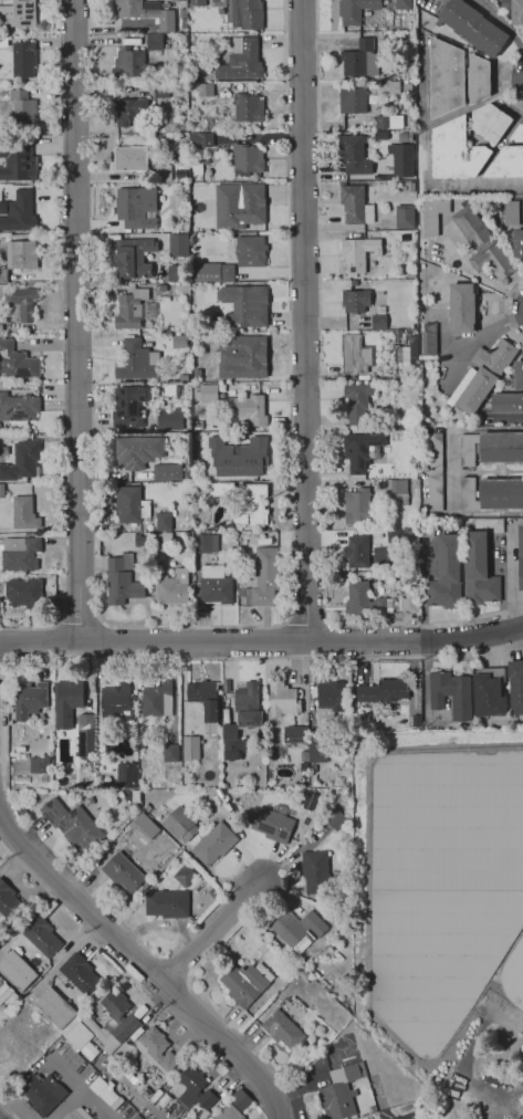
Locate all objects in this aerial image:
building: (197, 2)
building: (402, 4)
building: (355, 10)
building: (514, 10)
building: (146, 12)
building: (19, 13)
building: (244, 14)
building: (184, 23)
road: (504, 23)
building: (473, 27)
building: (182, 38)
building: (3, 41)
building: (154, 41)
building: (23, 59)
building: (360, 59)
building: (241, 60)
road: (317, 62)
building: (134, 65)
building: (446, 77)
building: (479, 79)
road: (505, 79)
building: (206, 90)
building: (394, 90)
building: (160, 91)
building: (353, 100)
building: (381, 107)
building: (23, 108)
building: (249, 108)
building: (130, 111)
building: (389, 122)
building: (491, 122)
road: (430, 123)
road: (338, 125)
building: (517, 134)
building: (406, 136)
building: (201, 139)
road: (498, 148)
building: (456, 151)
building: (354, 155)
building: (248, 158)
building: (130, 159)
building: (400, 159)
building: (18, 161)
building: (506, 164)
building: (161, 174)
building: (411, 187)
road: (448, 187)
building: (239, 205)
building: (356, 206)
building: (136, 207)
building: (19, 212)
building: (512, 213)
building: (433, 215)
building: (405, 217)
building: (516, 241)
building: (482, 243)
building: (178, 245)
building: (247, 250)
building: (358, 252)
building: (19, 257)
building: (134, 258)
building: (213, 272)
building: (356, 301)
building: (21, 303)
building: (244, 305)
building: (462, 307)
road: (508, 308)
building: (129, 310)
building: (149, 310)
road: (76, 321)
road: (304, 321)
building: (379, 322)
building: (1, 325)
building: (398, 333)
building: (429, 339)
building: (178, 341)
building: (410, 349)
building: (401, 354)
building: (356, 355)
building: (241, 356)
building: (137, 360)
building: (17, 362)
building: (197, 375)
building: (483, 376)
building: (517, 376)
building: (207, 394)
building: (357, 401)
building: (508, 402)
building: (130, 406)
building: (18, 407)
building: (250, 409)
building: (170, 420)
building: (198, 425)
building: (492, 448)
building: (360, 449)
building: (138, 451)
building: (416, 456)
building: (238, 457)
building: (22, 461)
road: (454, 470)
building: (168, 472)
building: (436, 474)
building: (223, 490)
building: (1, 491)
building: (399, 492)
building: (492, 494)
building: (130, 504)
building: (250, 505)
building: (359, 508)
building: (23, 513)
building: (7, 514)
building: (163, 521)
building: (428, 531)
building: (395, 535)
building: (166, 537)
building: (205, 543)
building: (357, 552)
building: (19, 554)
building: (521, 557)
building: (479, 571)
building: (447, 574)
building: (263, 577)
building: (121, 584)
building: (216, 585)
building: (172, 586)
building: (241, 593)
building: (24, 594)
road: (101, 598)
building: (366, 600)
building: (410, 600)
road: (306, 619)
road: (406, 624)
road: (228, 626)
road: (93, 632)
road: (302, 641)
road: (40, 642)
road: (354, 656)
road: (185, 678)
building: (226, 686)
building: (516, 686)
building: (384, 691)
building: (489, 692)
building: (449, 693)
building: (206, 698)
building: (29, 699)
building: (157, 700)
building: (283, 700)
building: (330, 700)
building: (66, 702)
building: (117, 702)
building: (242, 719)
building: (85, 740)
building: (299, 741)
building: (190, 749)
building: (318, 752)
building: (171, 753)
building: (40, 765)
building: (313, 768)
building: (126, 775)
building: (43, 778)
building: (147, 807)
building: (335, 818)
building: (180, 824)
building: (73, 825)
building: (119, 825)
building: (272, 825)
building: (145, 826)
building: (215, 844)
building: (123, 872)
building: (316, 872)
building: (185, 876)
building: (9, 902)
building: (167, 903)
building: (297, 929)
building: (40, 934)
road: (210, 934)
road: (145, 966)
building: (292, 970)
building: (17, 971)
building: (79, 974)
building: (304, 975)
building: (244, 984)
building: (295, 1007)
building: (55, 1008)
building: (118, 1015)
building: (282, 1029)
building: (79, 1035)
building: (102, 1036)
building: (71, 1045)
building: (90, 1050)
building: (157, 1050)
building: (307, 1057)
road: (80, 1088)
building: (196, 1089)
building: (341, 1091)
building: (42, 1094)
building: (107, 1095)
building: (240, 1099)
road: (66, 1104)
road: (8, 1110)
building: (228, 1112)
building: (77, 1113)
parking lot: (404, 1116)
building: (137, 1117)

